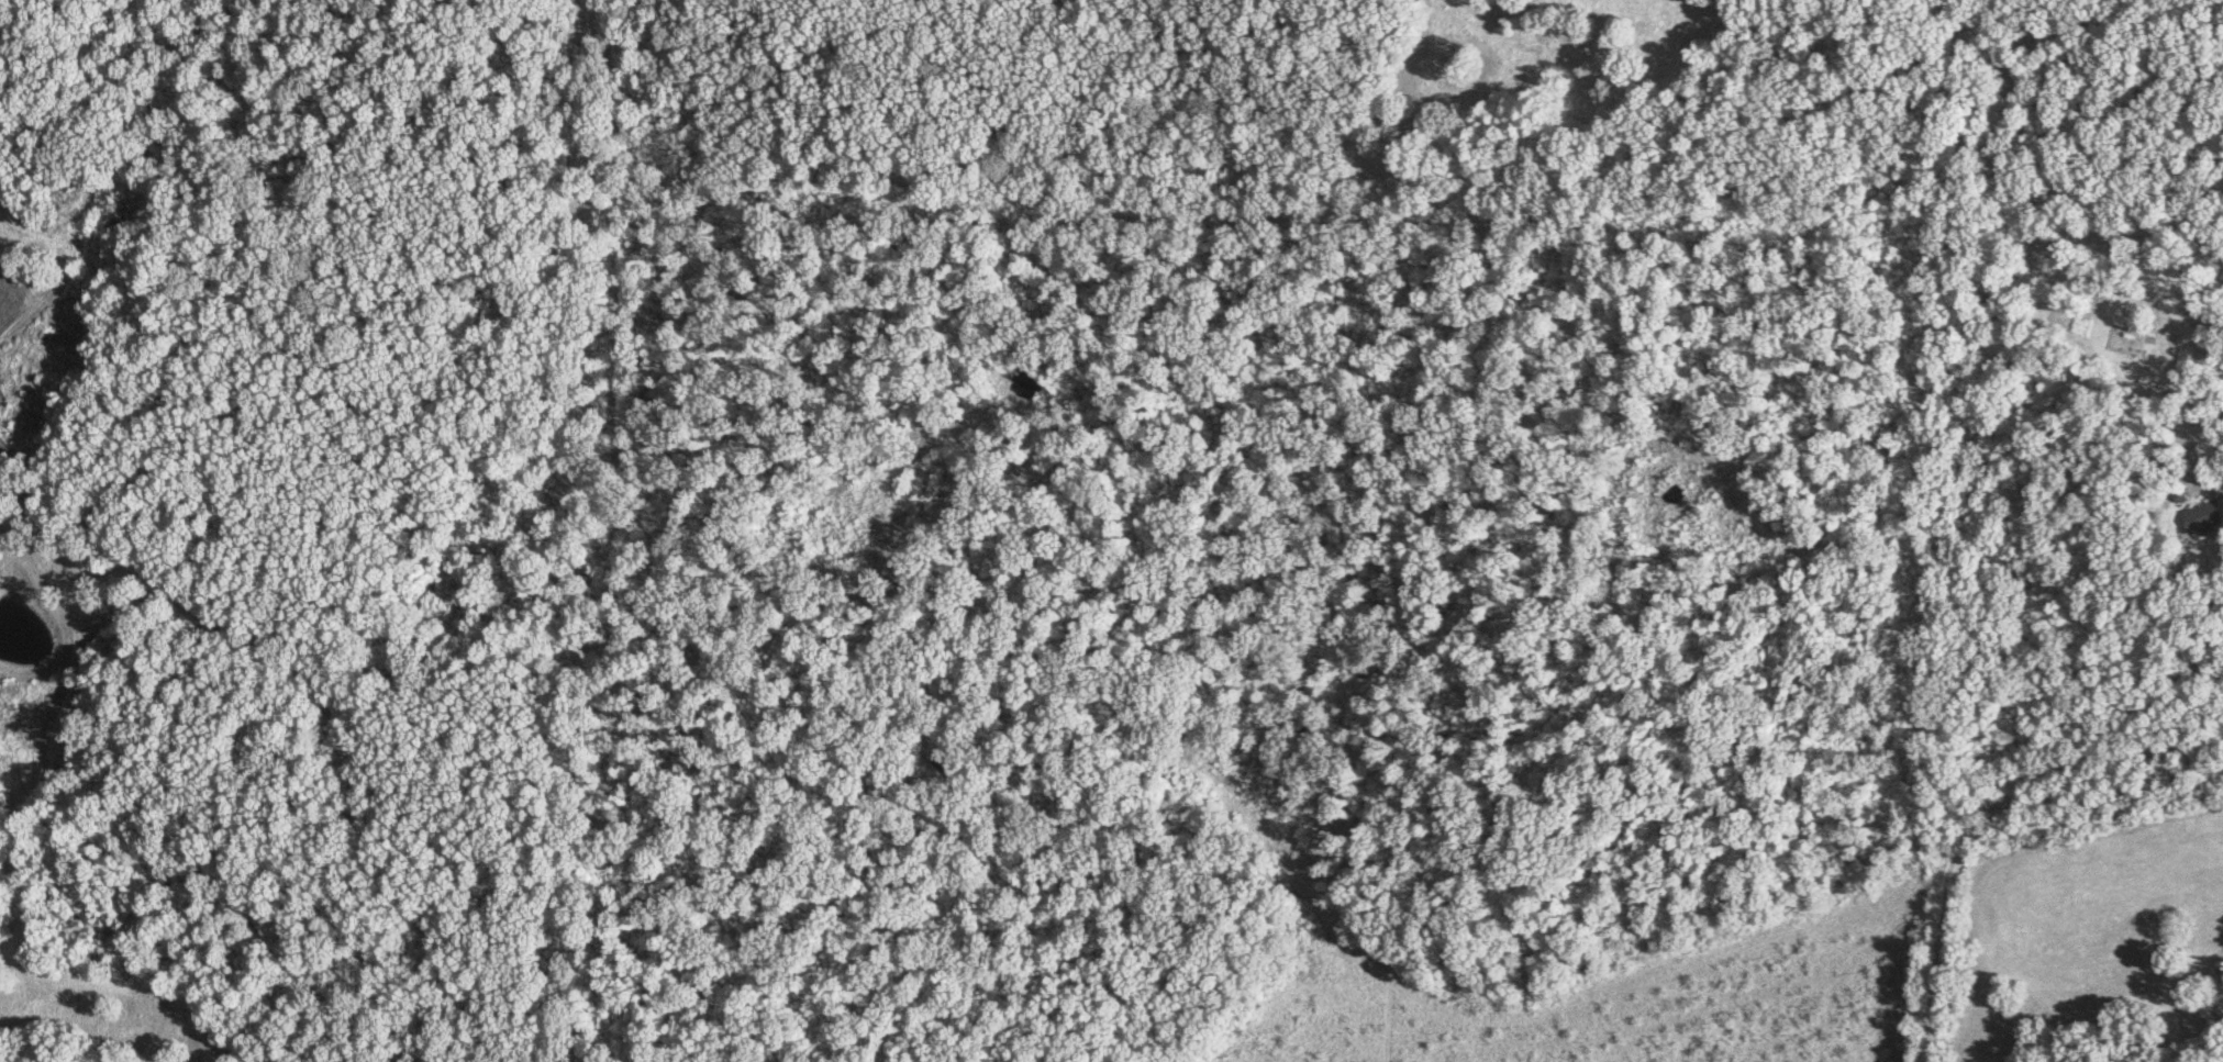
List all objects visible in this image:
building: (2124, 343)
road: (2194, 347)
building: (2207, 518)
road: (1980, 814)

